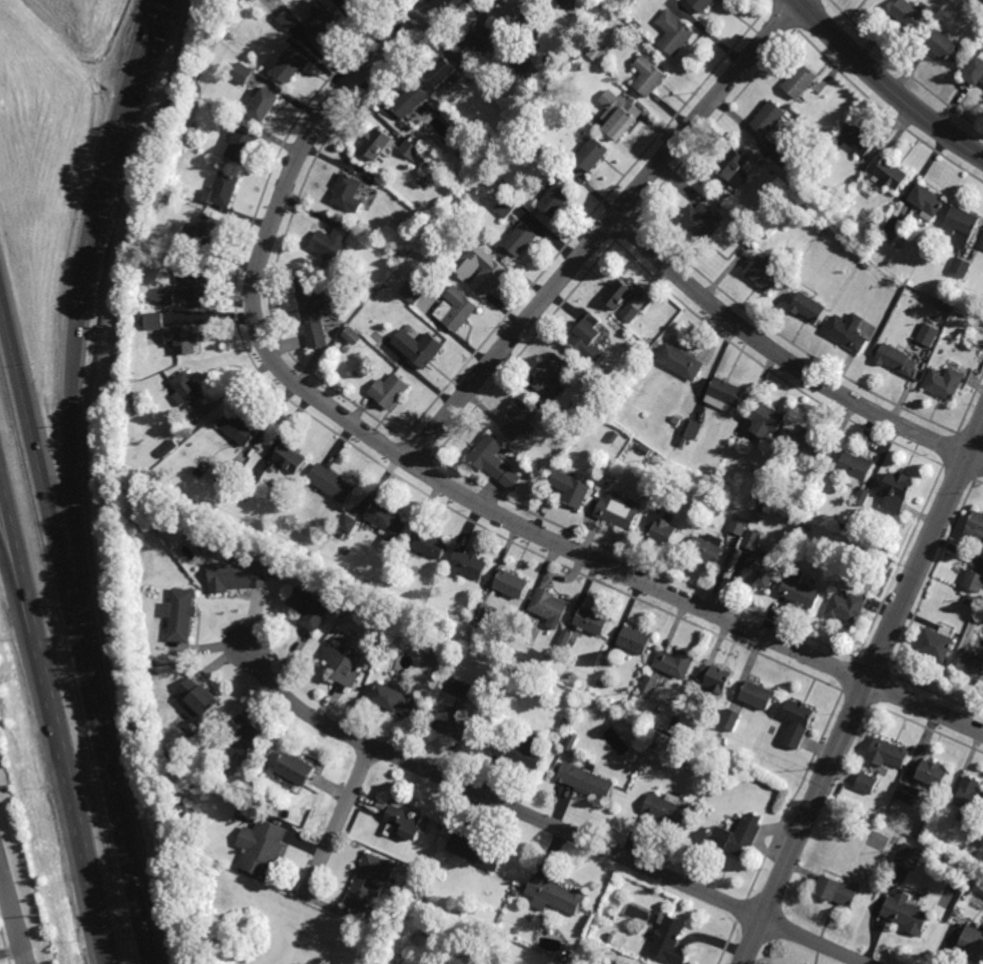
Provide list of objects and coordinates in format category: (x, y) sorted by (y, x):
building: (617, 1)
building: (360, 4)
building: (701, 4)
road: (159, 5)
building: (513, 10)
building: (911, 14)
building: (290, 18)
building: (326, 21)
building: (674, 32)
building: (477, 37)
building: (946, 44)
building: (598, 54)
road: (143, 56)
building: (292, 63)
building: (522, 63)
building: (974, 68)
building: (441, 69)
building: (241, 73)
building: (648, 76)
building: (545, 80)
building: (801, 80)
road: (885, 85)
building: (558, 86)
building: (409, 99)
building: (265, 102)
building: (619, 114)
building: (769, 116)
building: (575, 119)
building: (859, 140)
building: (375, 141)
building: (242, 143)
building: (489, 147)
building: (409, 149)
building: (434, 152)
building: (592, 154)
building: (784, 156)
building: (423, 163)
building: (732, 163)
building: (889, 172)
building: (225, 187)
building: (347, 191)
building: (553, 198)
building: (929, 200)
building: (506, 205)
road: (95, 211)
building: (837, 217)
building: (701, 219)
building: (895, 224)
building: (961, 225)
building: (204, 229)
road: (603, 231)
building: (890, 236)
building: (461, 237)
building: (521, 239)
building: (330, 241)
building: (982, 244)
building: (982, 246)
building: (877, 256)
building: (398, 257)
building: (885, 259)
building: (960, 266)
building: (766, 271)
building: (489, 277)
building: (193, 278)
building: (367, 290)
building: (410, 293)
building: (619, 293)
building: (364, 297)
building: (171, 303)
building: (810, 305)
building: (455, 309)
building: (310, 312)
building: (630, 313)
building: (152, 320)
building: (848, 331)
building: (352, 334)
building: (929, 334)
building: (184, 338)
building: (589, 339)
building: (418, 346)
building: (344, 349)
building: (897, 359)
building: (681, 362)
road: (785, 362)
building: (551, 375)
building: (944, 382)
building: (188, 389)
building: (388, 390)
building: (725, 394)
building: (124, 397)
building: (126, 411)
building: (571, 416)
building: (518, 418)
building: (767, 419)
building: (126, 420)
building: (676, 420)
building: (238, 429)
building: (689, 431)
building: (624, 441)
building: (812, 443)
building: (169, 449)
building: (645, 450)
building: (289, 459)
building: (493, 462)
building: (856, 468)
road: (423, 472)
building: (225, 477)
building: (329, 482)
building: (297, 488)
building: (572, 489)
building: (243, 490)
building: (755, 493)
building: (897, 493)
building: (863, 497)
building: (773, 500)
building: (763, 507)
building: (619, 510)
road: (71, 511)
building: (693, 511)
building: (170, 519)
building: (161, 520)
building: (385, 520)
building: (346, 523)
building: (738, 525)
building: (842, 526)
building: (975, 527)
building: (339, 532)
building: (662, 533)
building: (862, 534)
building: (750, 539)
building: (430, 545)
building: (707, 549)
building: (465, 565)
building: (759, 571)
building: (237, 576)
building: (974, 581)
building: (511, 584)
building: (800, 591)
building: (353, 596)
building: (969, 600)
building: (549, 605)
building: (374, 606)
building: (308, 608)
building: (846, 608)
building: (479, 610)
building: (464, 613)
building: (182, 615)
building: (592, 621)
building: (525, 624)
road: (26, 625)
road: (73, 629)
building: (388, 632)
building: (565, 639)
building: (634, 640)
building: (934, 646)
building: (150, 662)
building: (674, 663)
building: (343, 665)
building: (971, 667)
building: (149, 676)
building: (714, 678)
building: (649, 684)
road: (863, 691)
building: (757, 696)
building: (395, 699)
building: (198, 700)
building: (491, 708)
road: (53, 715)
building: (730, 719)
building: (675, 720)
building: (565, 721)
building: (798, 723)
building: (453, 726)
building: (247, 737)
building: (570, 742)
building: (721, 742)
building: (651, 744)
building: (519, 752)
building: (887, 755)
building: (173, 759)
power tower: (1, 768)
building: (172, 768)
building: (296, 769)
building: (934, 775)
building: (585, 781)
building: (867, 785)
building: (907, 794)
building: (968, 802)
building: (183, 810)
building: (665, 810)
building: (982, 821)
building: (409, 822)
road: (542, 822)
road: (338, 824)
building: (738, 835)
building: (894, 842)
building: (264, 848)
building: (475, 852)
building: (908, 856)
building: (929, 866)
building: (367, 882)
building: (838, 890)
building: (514, 894)
building: (554, 895)
building: (906, 913)
power tower: (38, 914)
road: (12, 917)
building: (611, 918)
building: (514, 931)
building: (424, 933)
building: (610, 938)
building: (669, 940)
building: (971, 942)
road: (10, 950)

